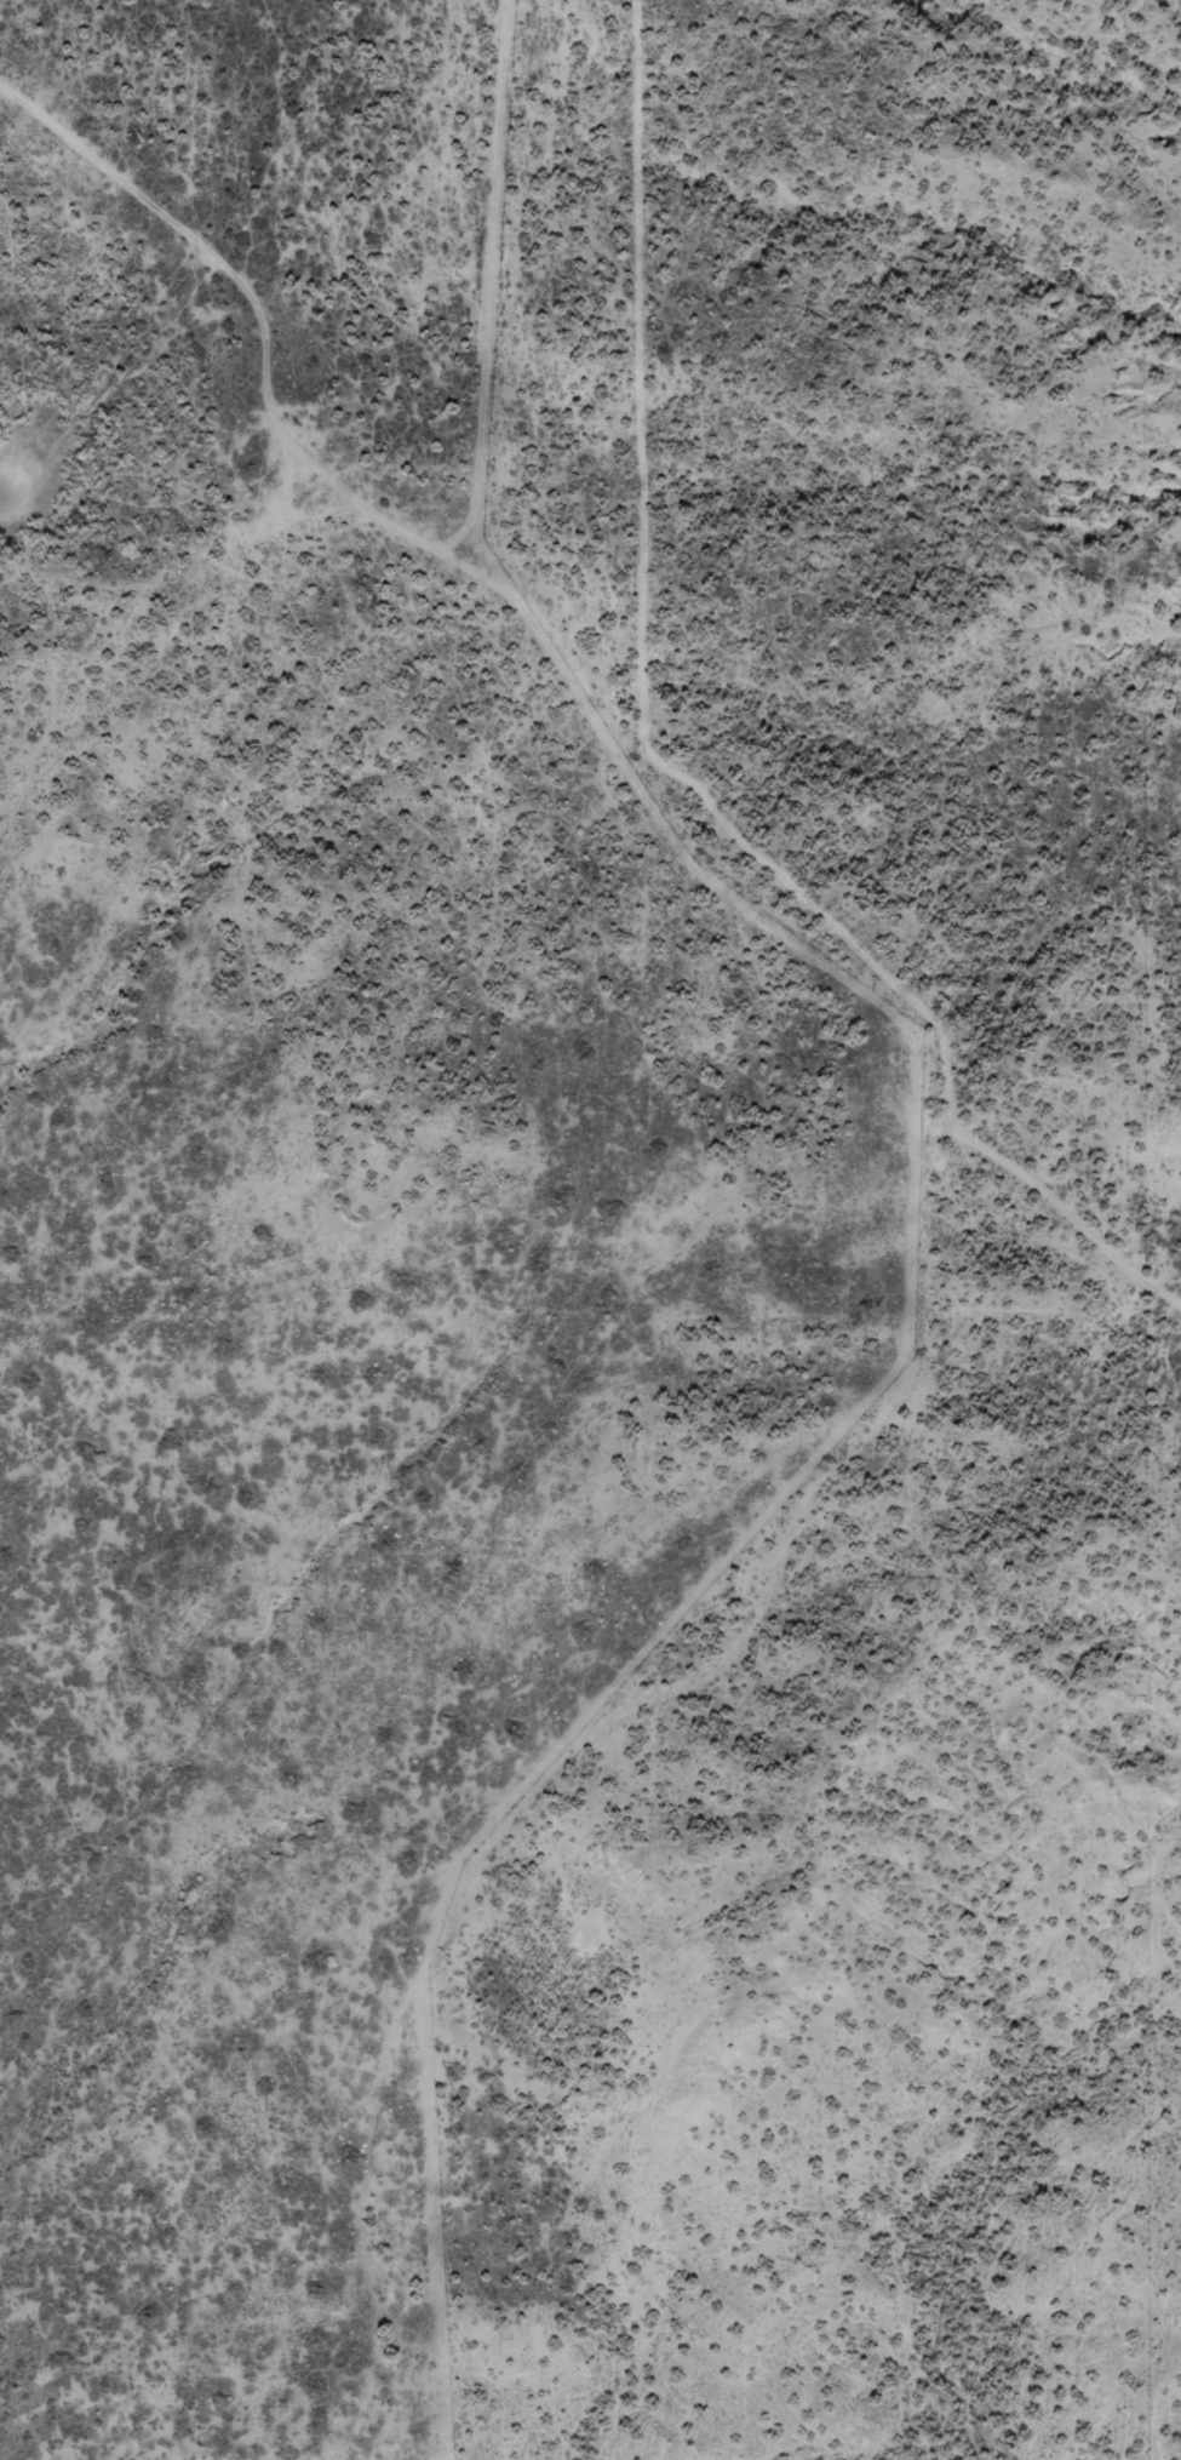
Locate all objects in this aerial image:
road: (873, 1166)

